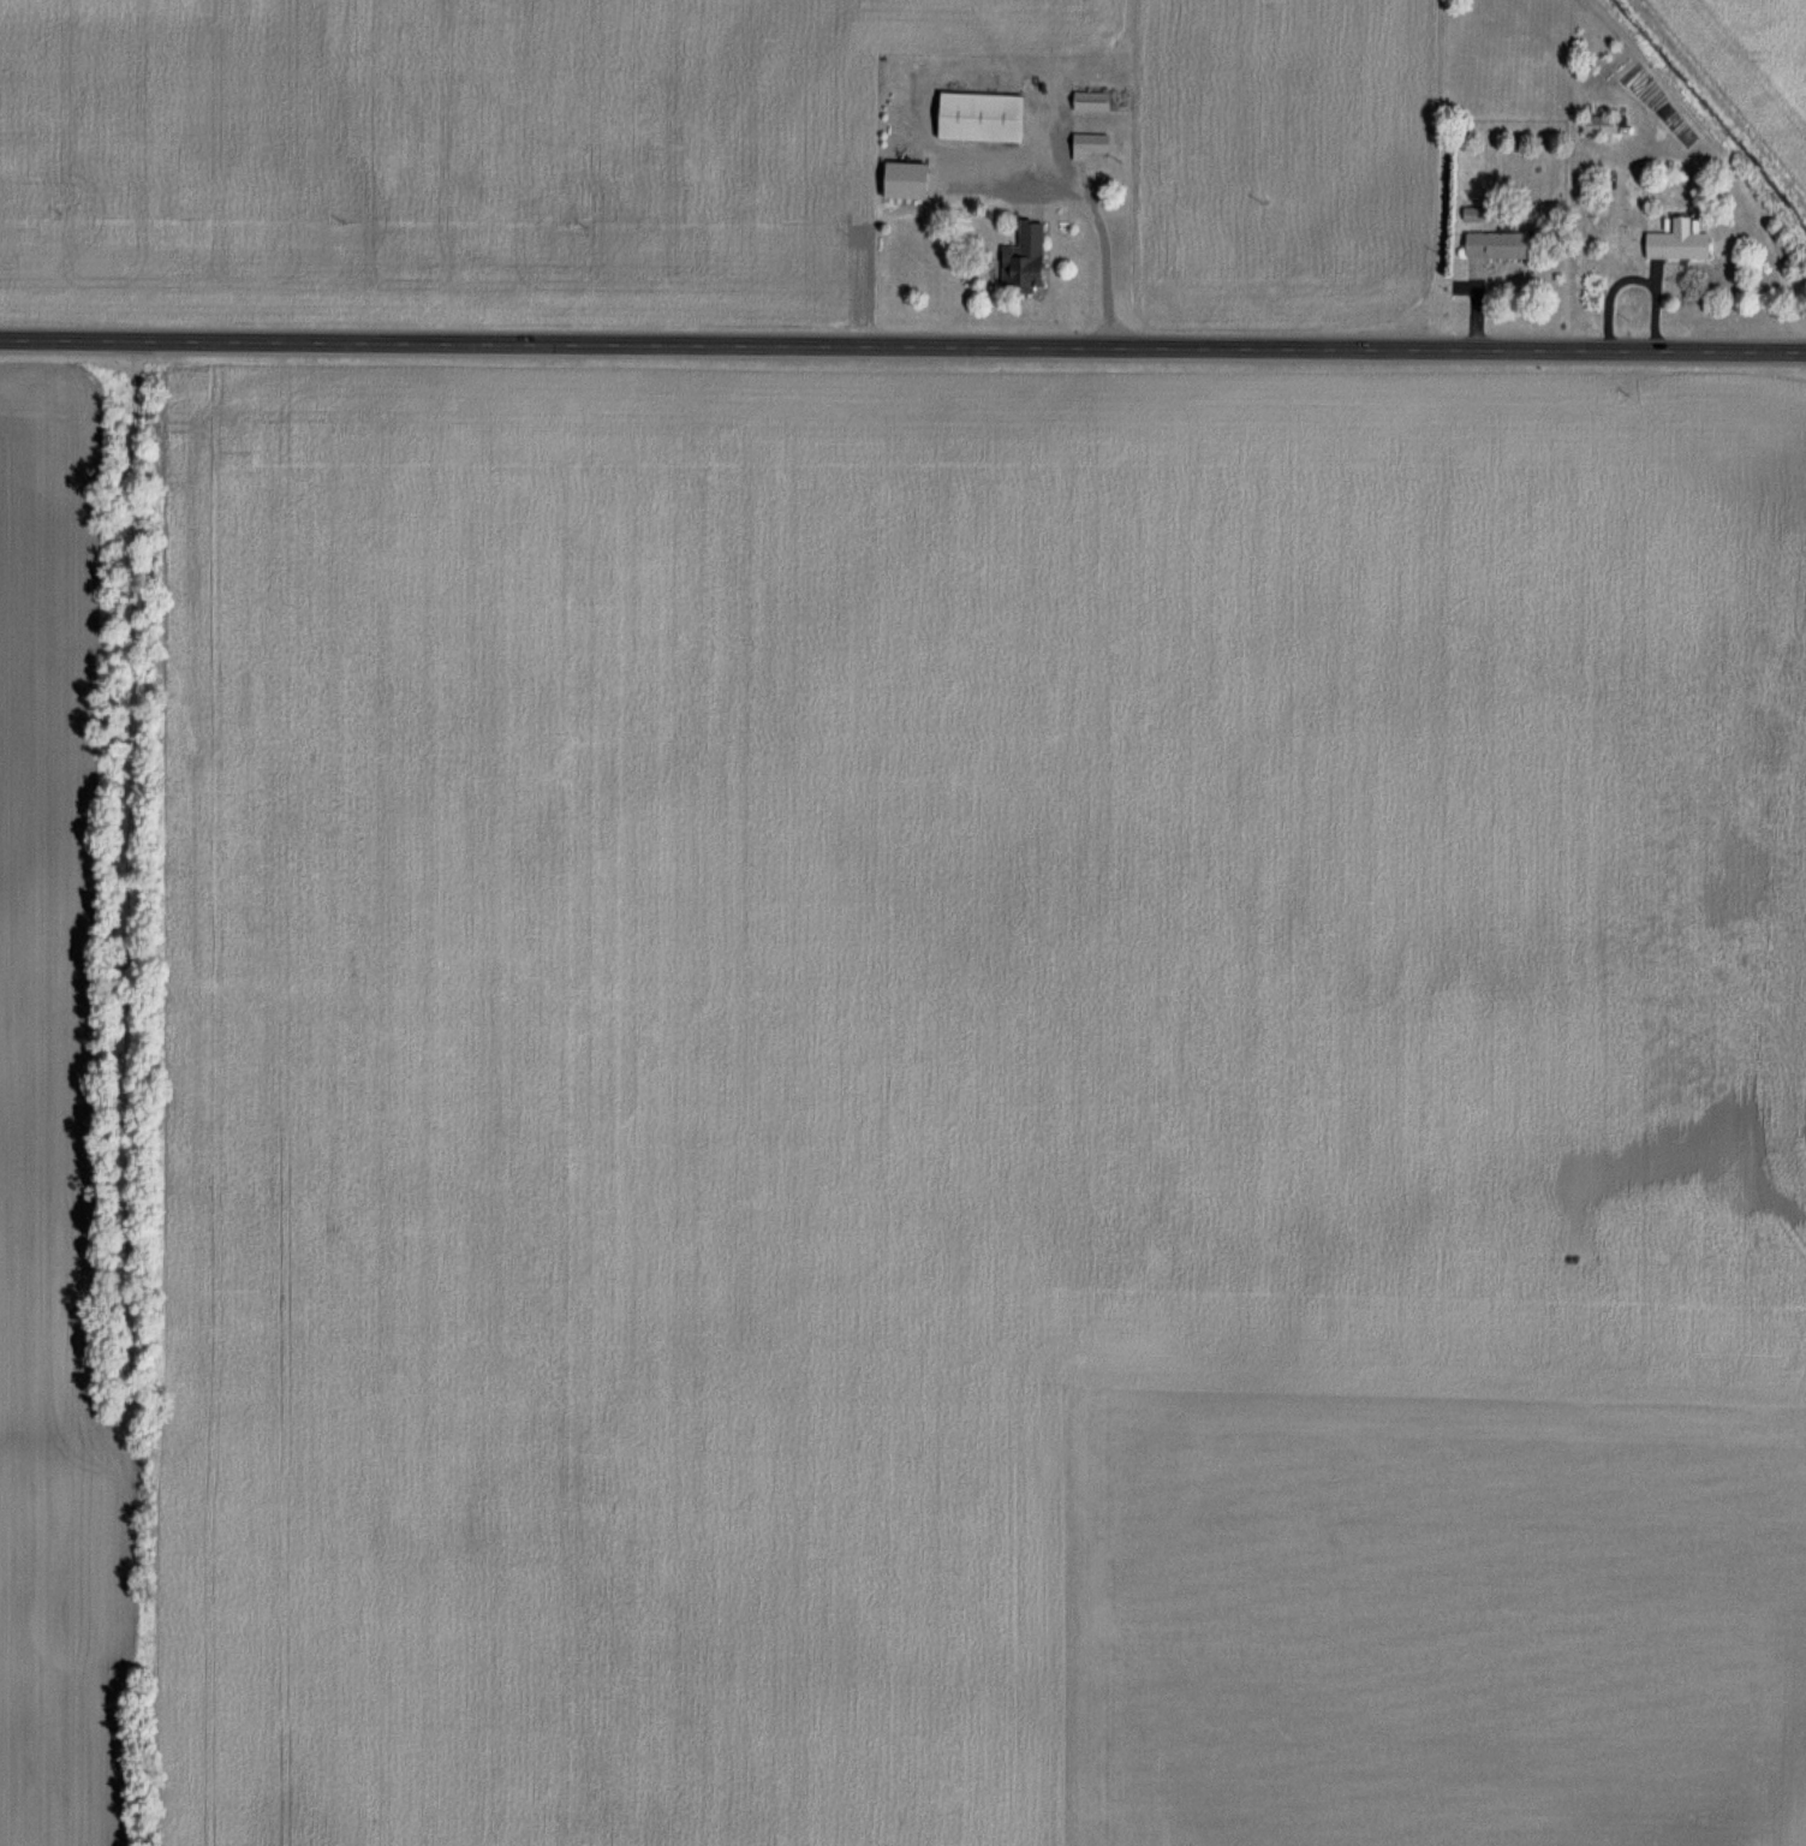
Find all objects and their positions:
building: (1017, 4)
building: (1042, 6)
building: (1098, 100)
building: (991, 115)
building: (1607, 124)
building: (1097, 149)
building: (916, 179)
road: (1083, 206)
building: (1685, 242)
building: (1504, 244)
building: (1033, 256)
road: (902, 344)

